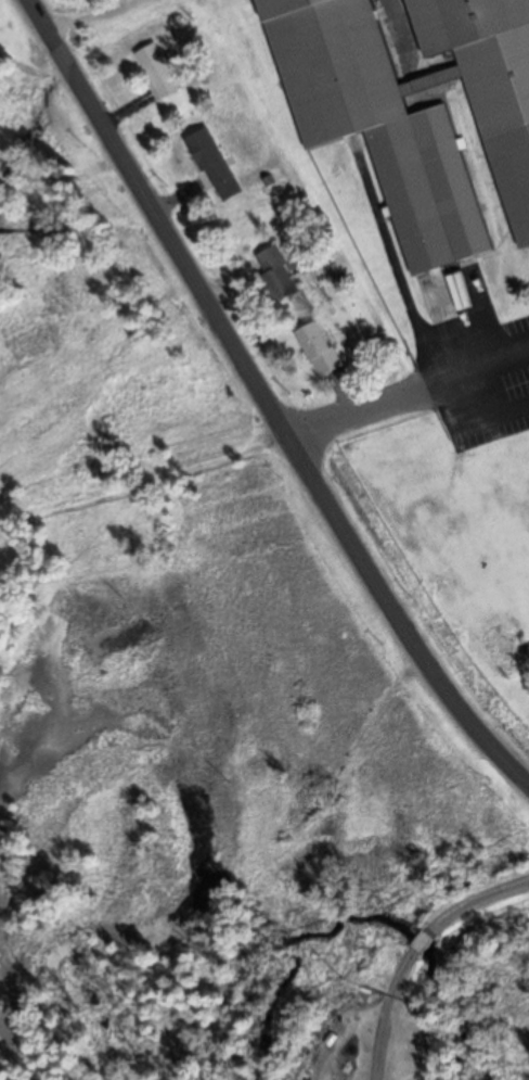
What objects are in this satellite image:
building: (159, 71)
building: (416, 142)
building: (217, 166)
building: (278, 275)
building: (320, 350)
road: (267, 401)
road: (413, 950)

